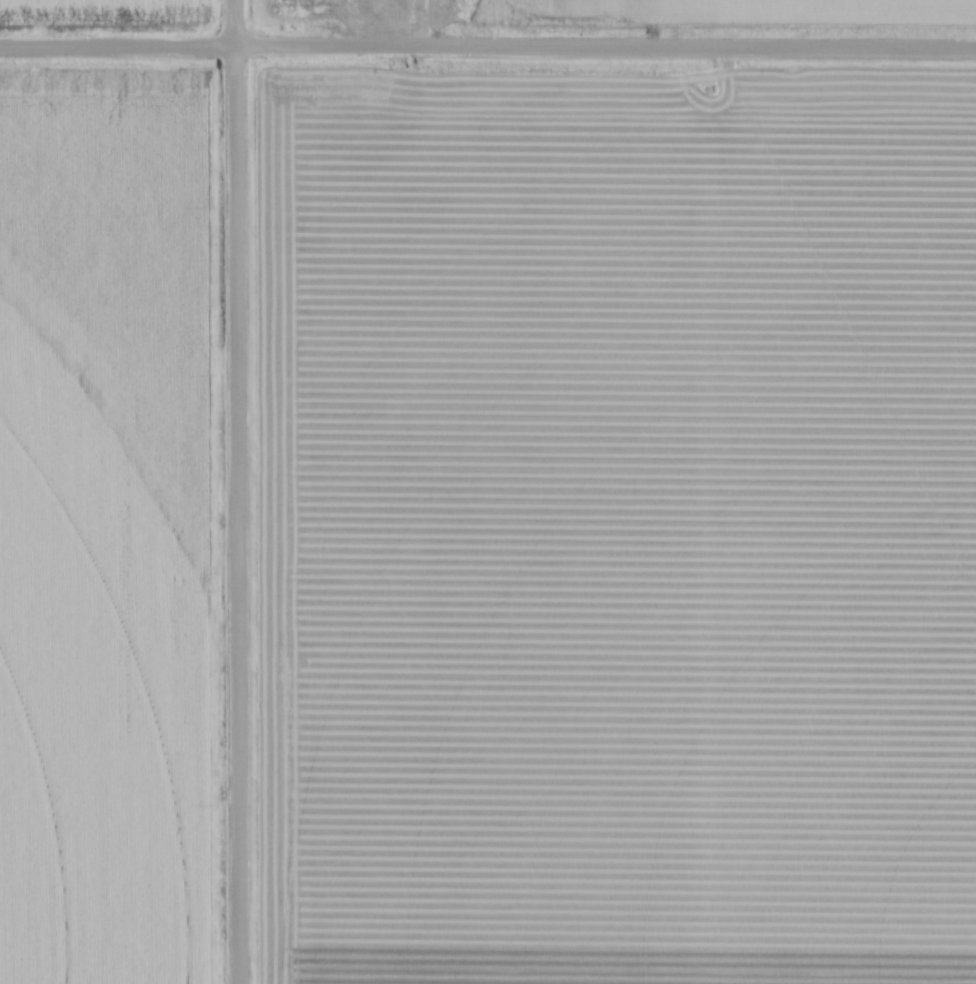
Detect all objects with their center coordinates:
silo: (470, 1)
building: (468, 3)
crop: (759, 8)
road: (425, 24)
road: (487, 49)
road: (236, 491)
crop: (105, 522)
crop: (617, 525)

